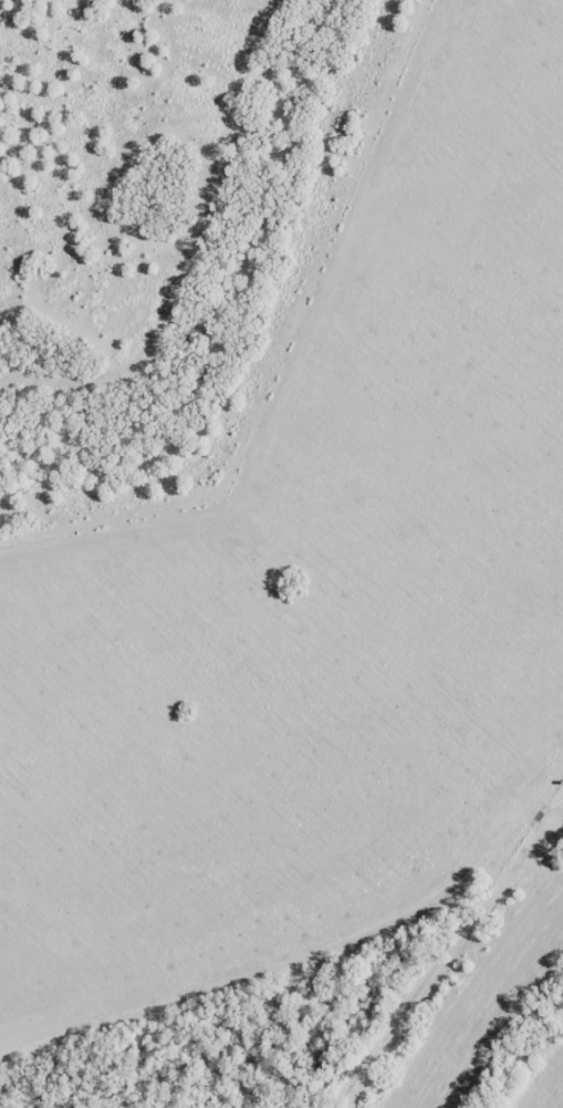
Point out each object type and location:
road: (447, 941)

